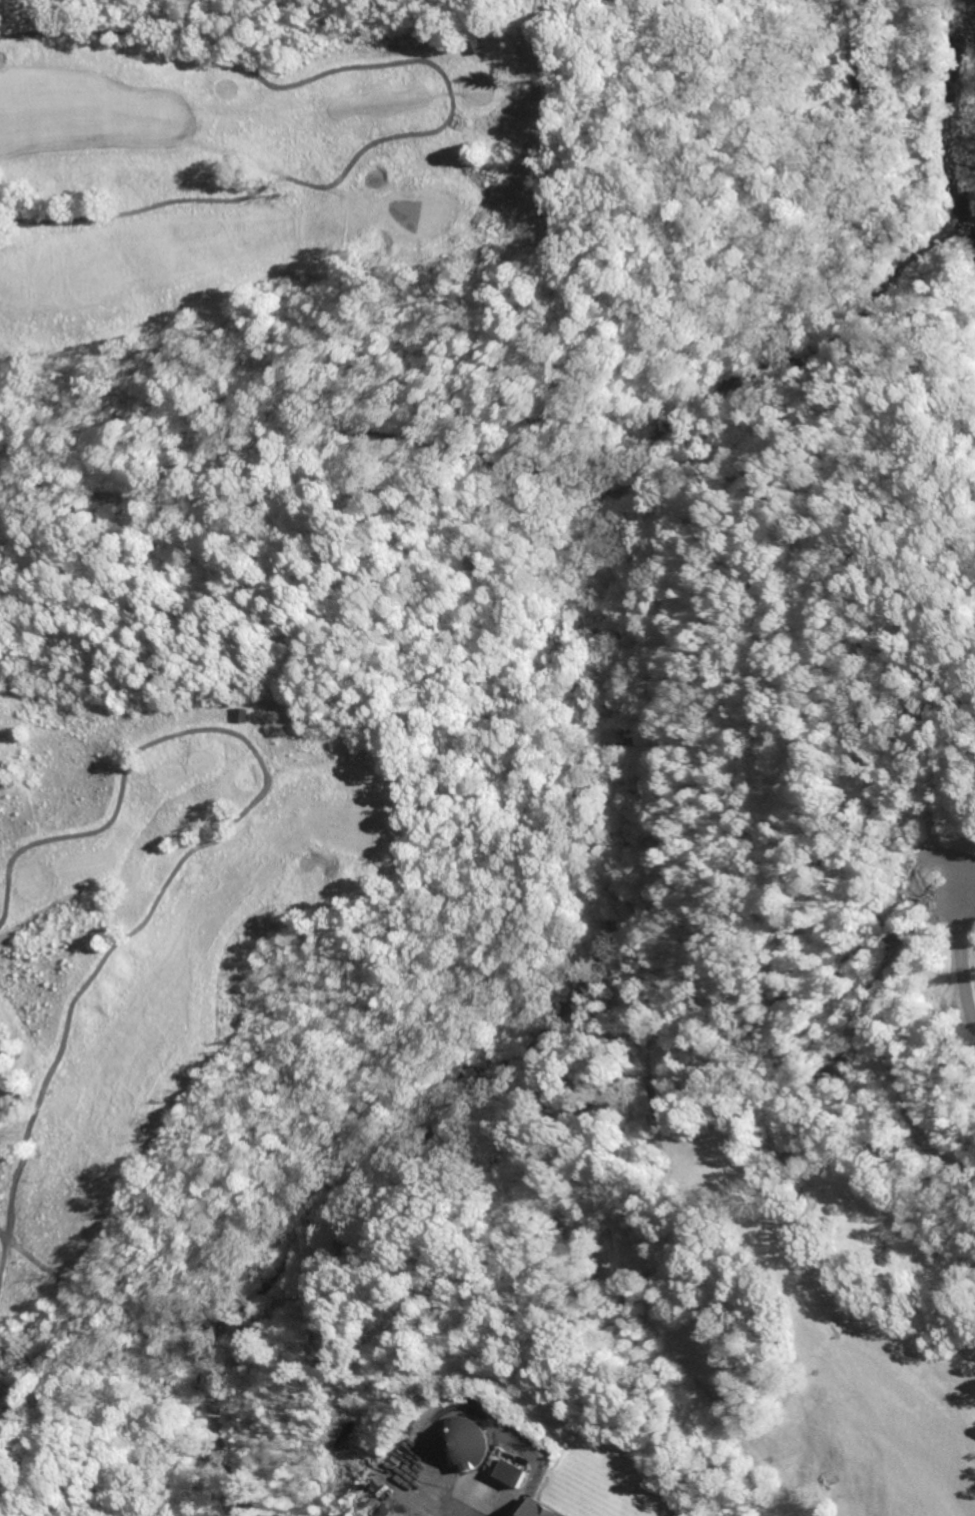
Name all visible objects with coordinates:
road: (864, 17)
building: (475, 47)
road: (449, 100)
park: (255, 160)
road: (793, 659)
road: (653, 708)
road: (210, 840)
parking lot: (943, 880)
road: (962, 902)
park: (162, 916)
park: (762, 971)
road: (958, 980)
road: (2, 1240)
road: (2, 1255)
road: (47, 1271)
road: (208, 1368)
building: (459, 1443)
storage tank: (459, 1443)
building: (510, 1472)
building: (540, 1509)

